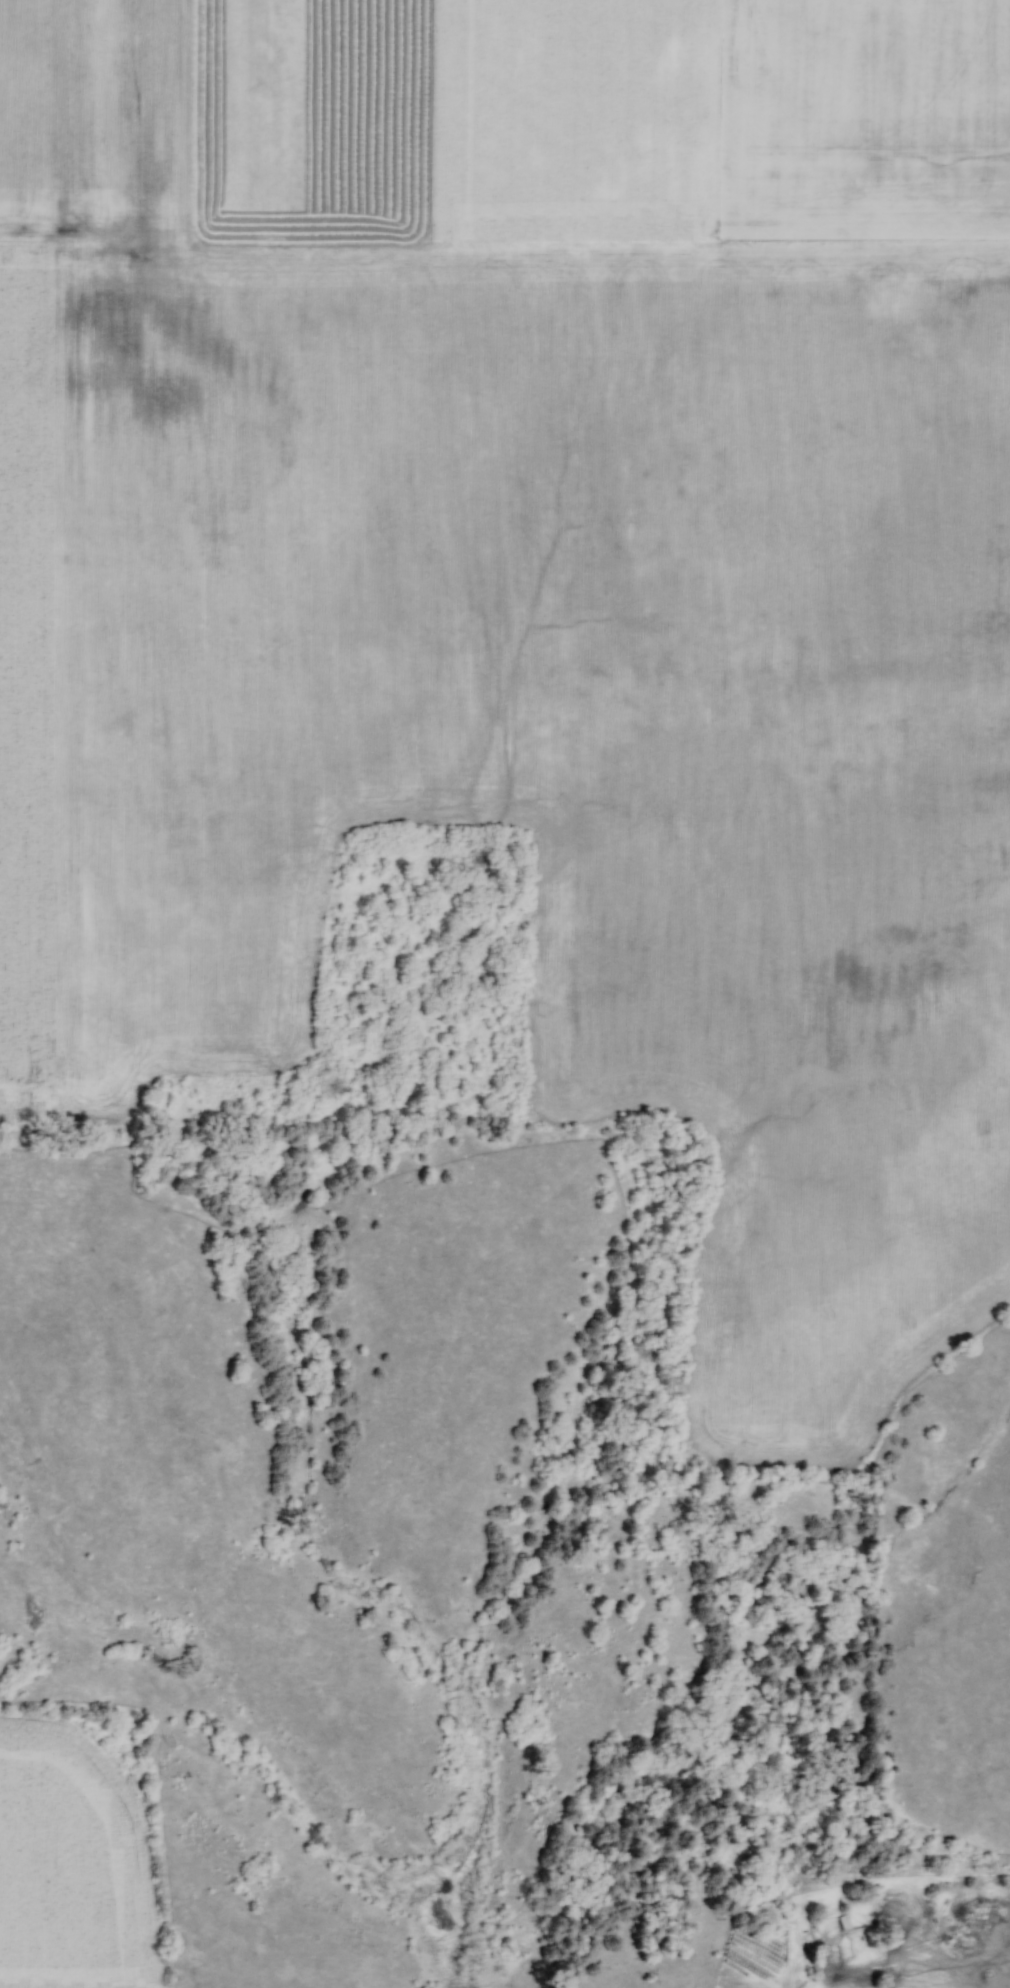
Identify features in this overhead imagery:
building: (844, 1923)

